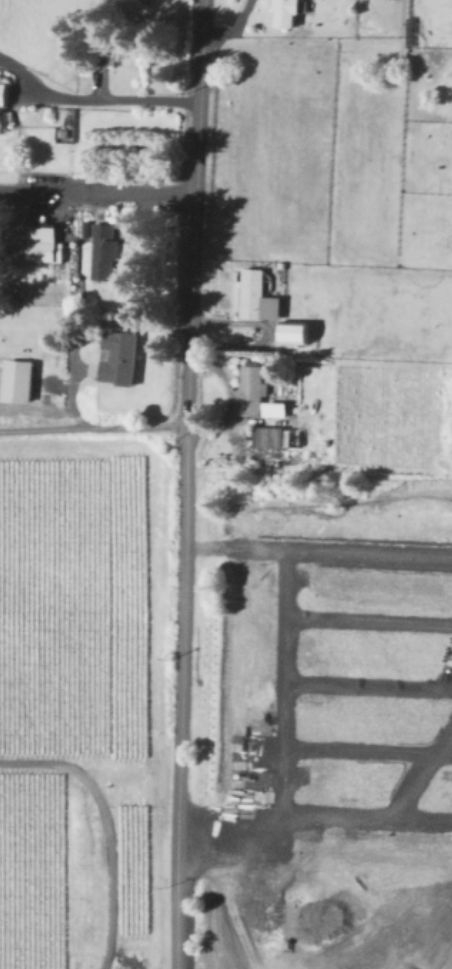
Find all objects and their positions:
building: (288, 12)
road: (228, 25)
building: (6, 92)
road: (115, 101)
road: (98, 192)
building: (45, 243)
building: (105, 249)
building: (260, 295)
road: (78, 321)
building: (300, 332)
building: (121, 356)
building: (22, 379)
building: (254, 388)
building: (279, 407)
road: (92, 427)
building: (273, 435)
road: (184, 484)
crop: (326, 702)
road: (107, 825)

